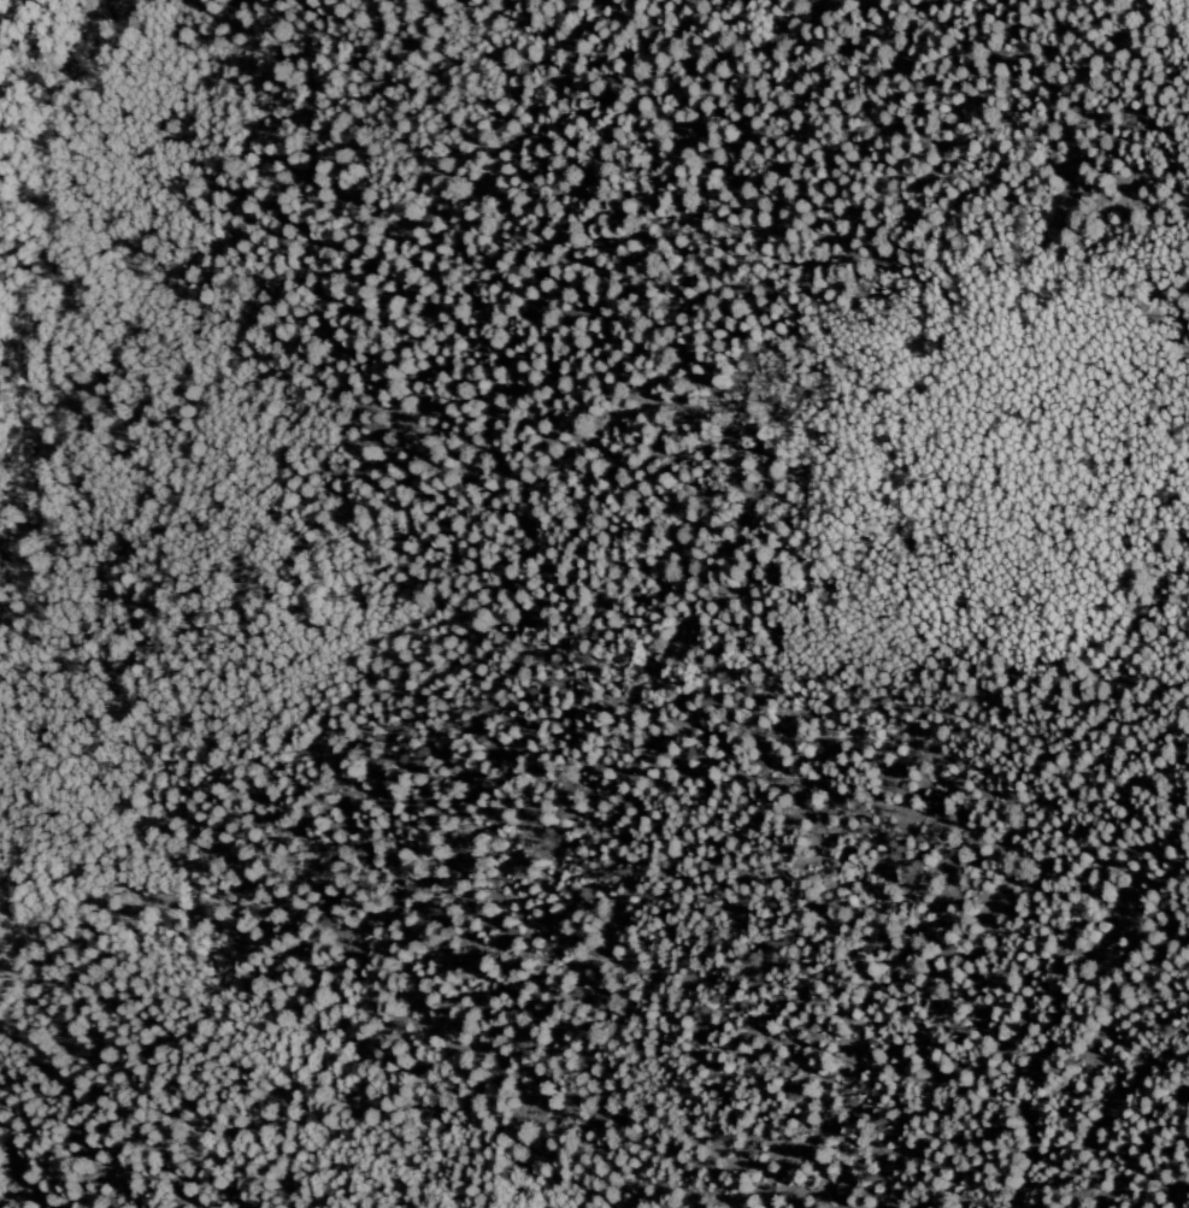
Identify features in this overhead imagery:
road: (86, 515)

